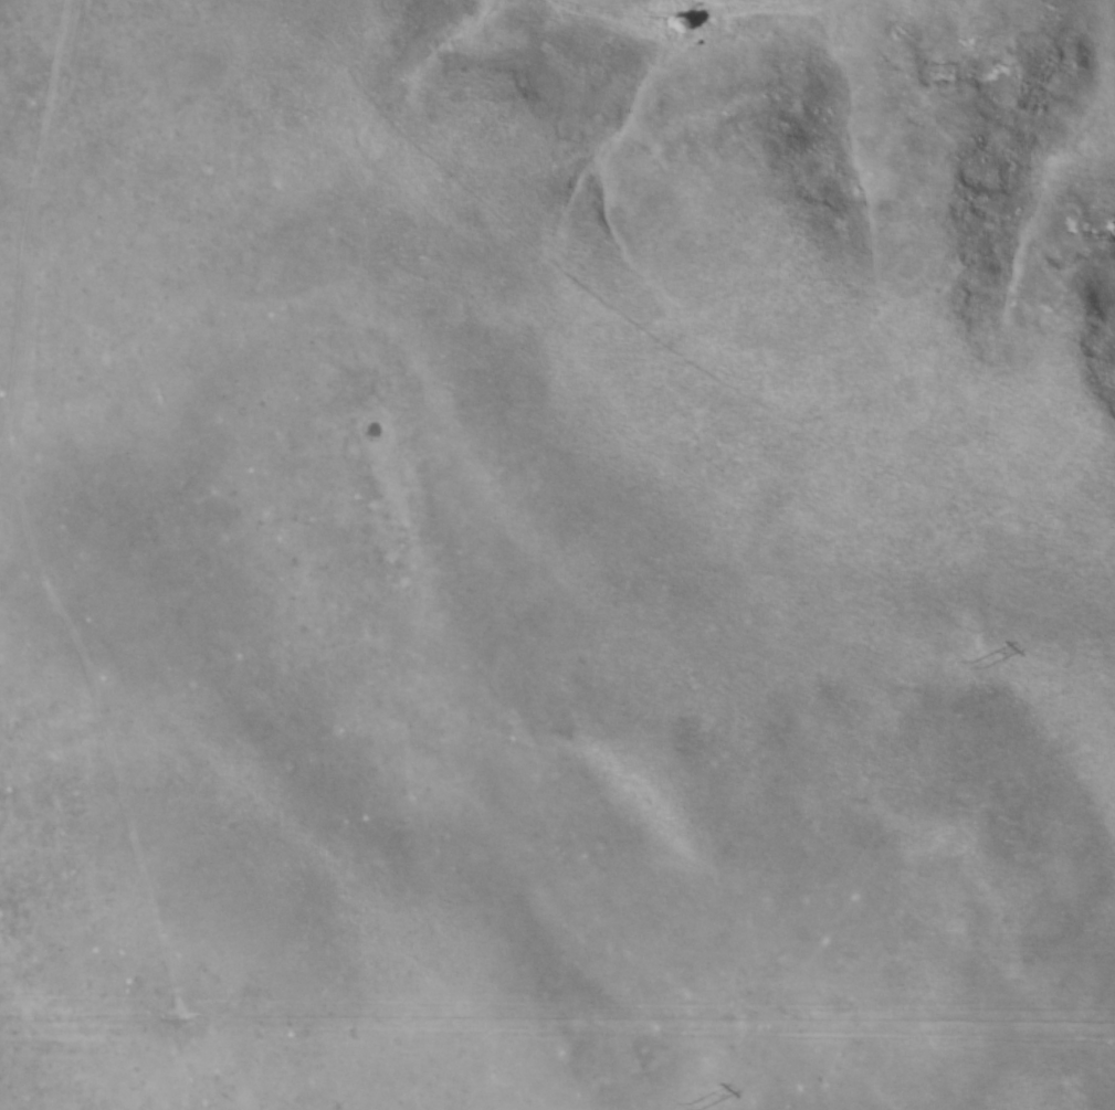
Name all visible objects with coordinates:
power tower: (979, 664)
power tower: (691, 1107)

